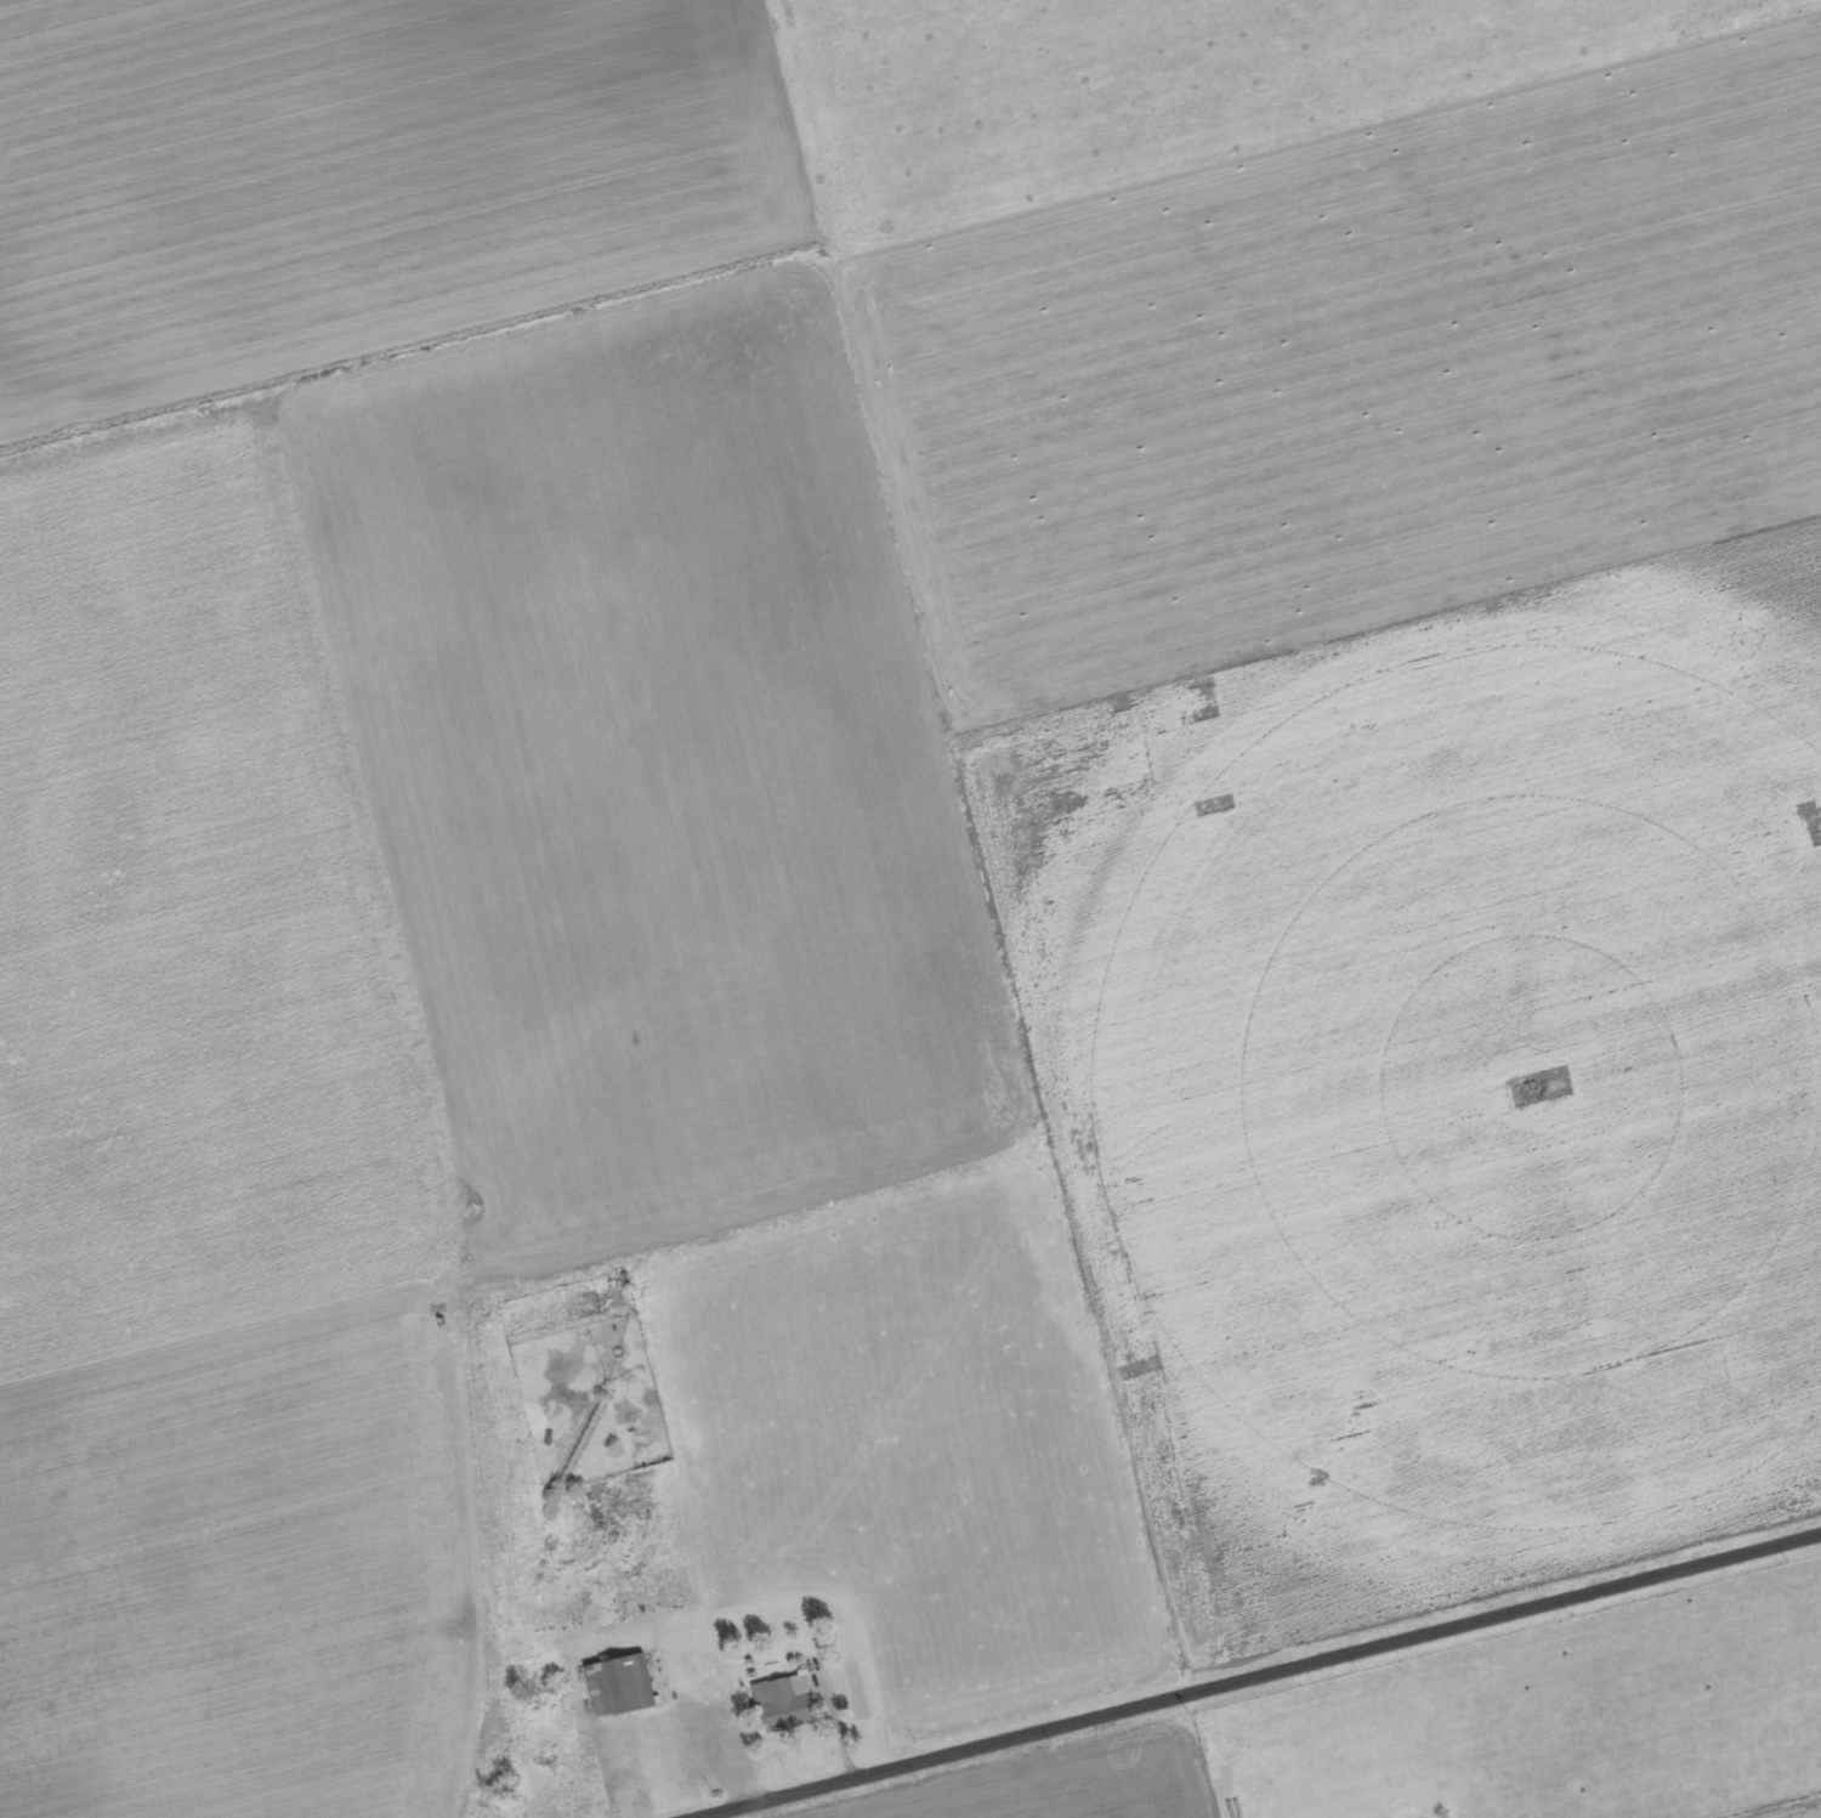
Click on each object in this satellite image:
road: (1260, 1676)
building: (626, 1689)
building: (787, 1705)

